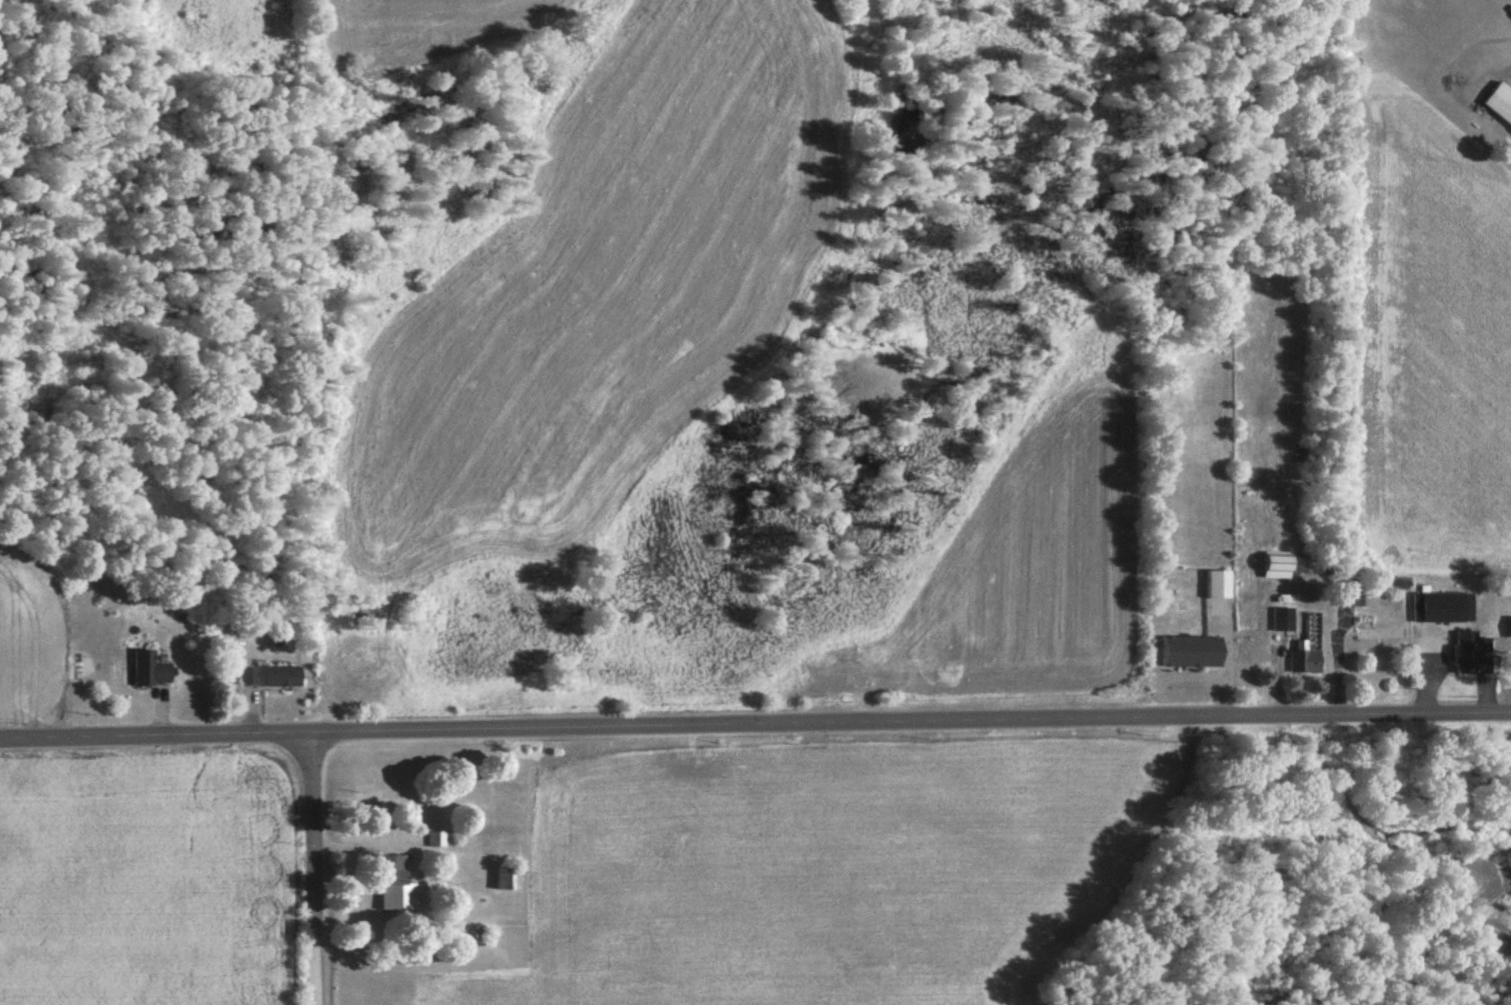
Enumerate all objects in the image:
building: (1498, 104)
road: (1181, 396)
building: (1216, 585)
building: (1347, 597)
building: (1440, 608)
building: (1280, 621)
building: (1509, 628)
building: (1378, 635)
building: (1188, 652)
building: (1462, 653)
building: (1303, 663)
building: (147, 670)
building: (266, 678)
road: (755, 723)
building: (435, 840)
road: (317, 868)
building: (507, 882)
building: (391, 886)

